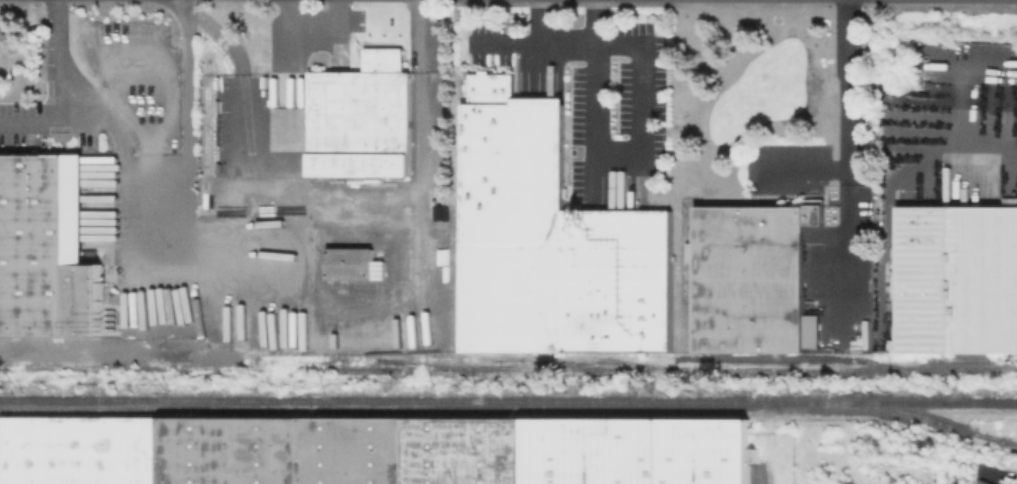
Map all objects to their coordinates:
road: (309, 26)
road: (564, 39)
building: (492, 89)
road: (33, 116)
building: (359, 118)
road: (845, 131)
road: (640, 143)
road: (981, 143)
road: (844, 238)
building: (554, 248)
building: (48, 250)
road: (138, 251)
building: (348, 263)
building: (753, 277)
building: (958, 280)
road: (314, 295)
railway: (350, 357)
railway: (579, 357)
railway: (807, 358)
railway: (970, 358)
railway: (8, 367)
railway: (508, 368)
railway: (508, 401)
railway: (406, 410)
railway: (922, 416)
railway: (993, 437)
building: (373, 450)

